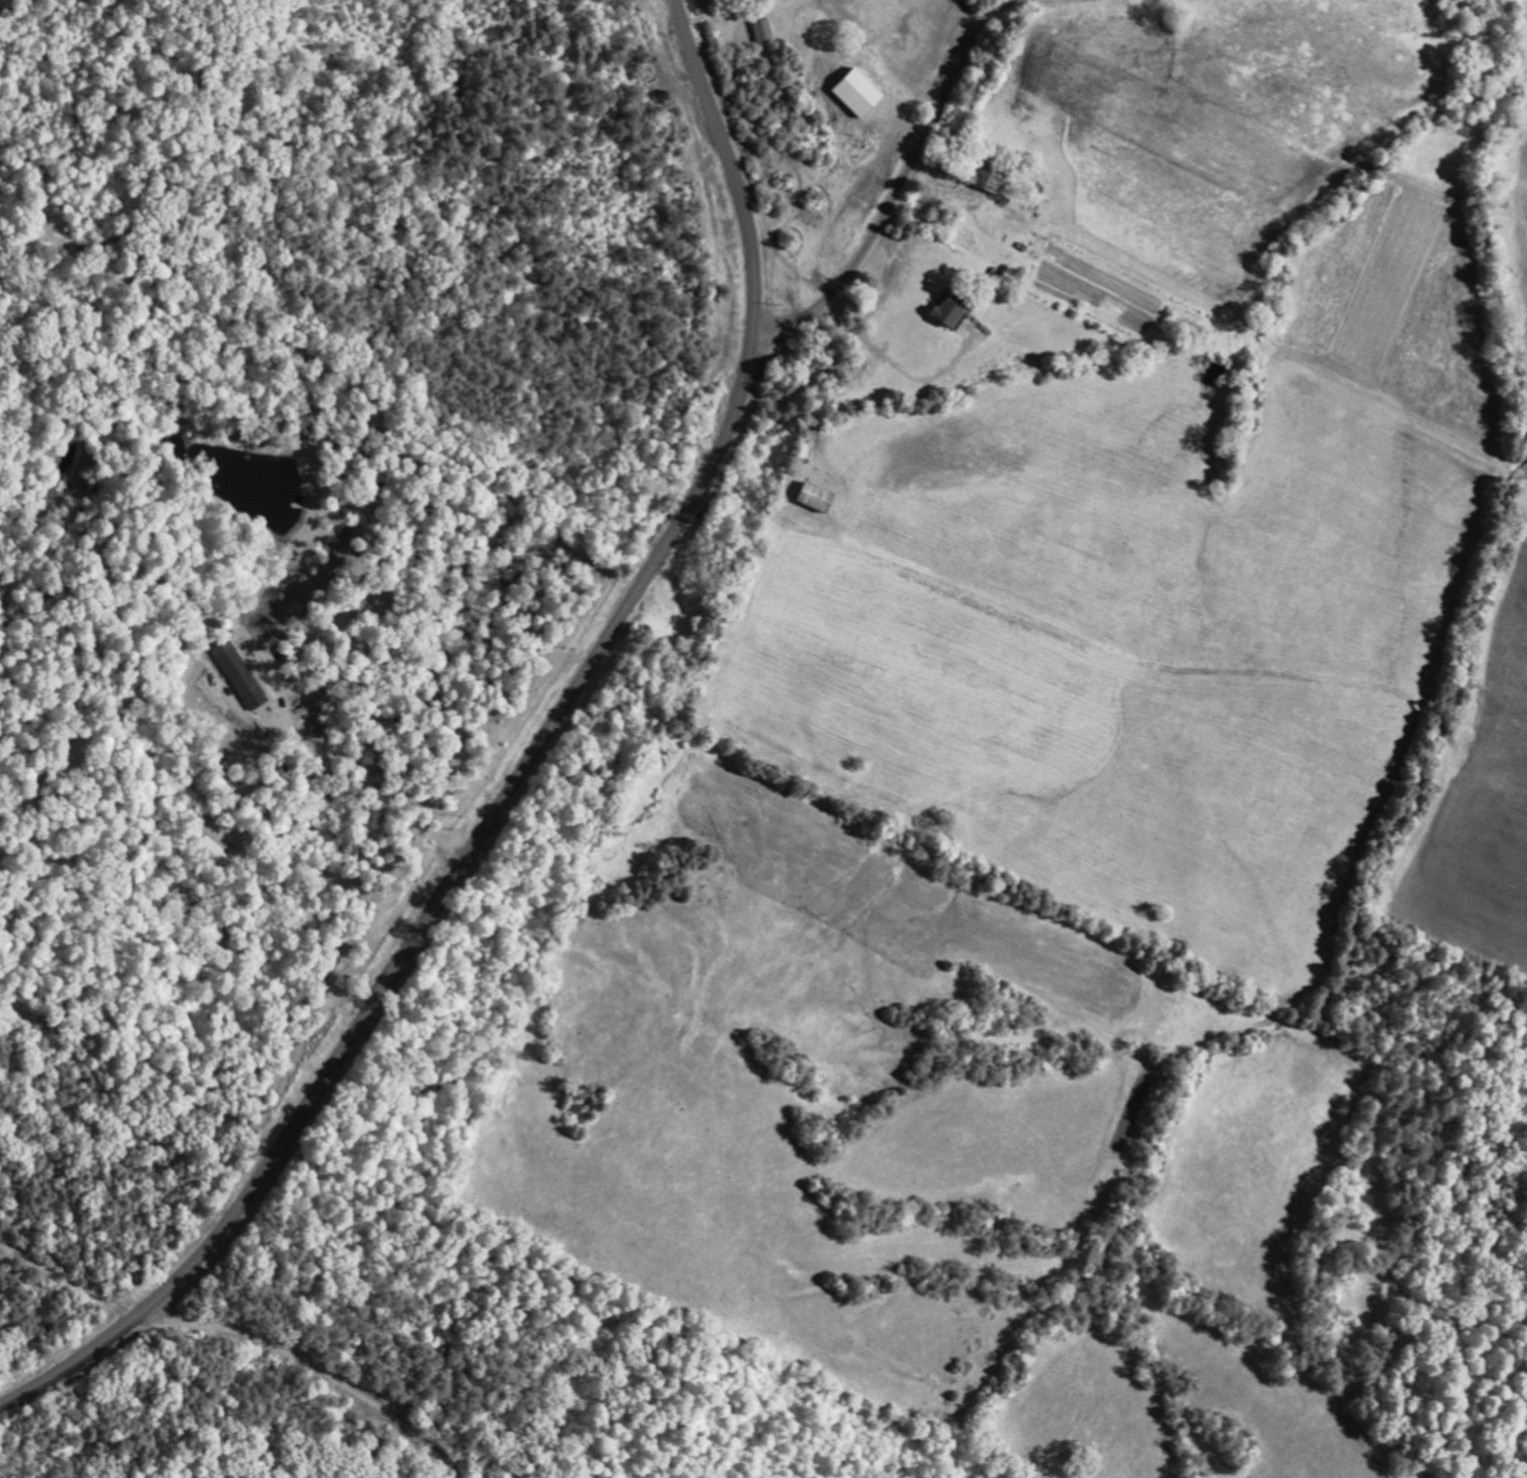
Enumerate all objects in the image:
building: (763, 29)
building: (858, 91)
road: (898, 189)
building: (951, 308)
building: (817, 496)
road: (526, 767)
road: (377, 1304)

